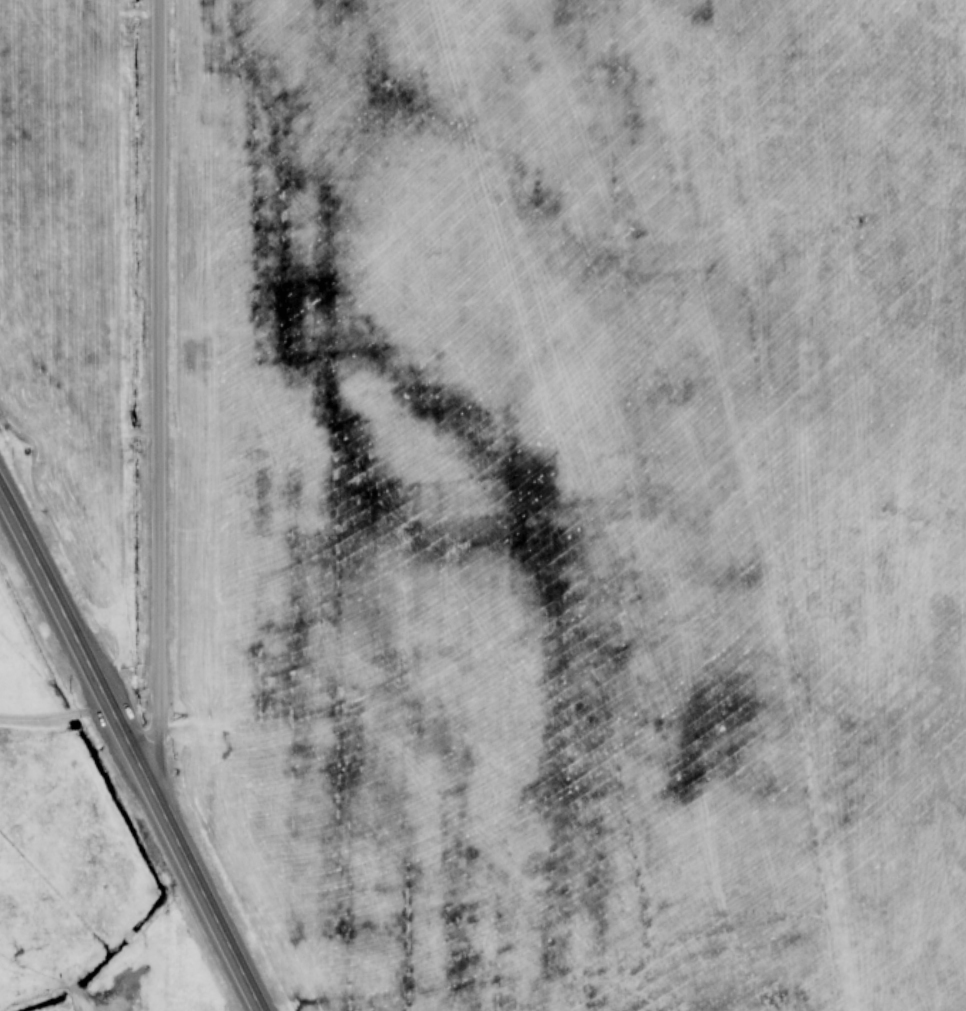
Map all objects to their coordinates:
road: (158, 386)
road: (54, 719)
road: (130, 752)

